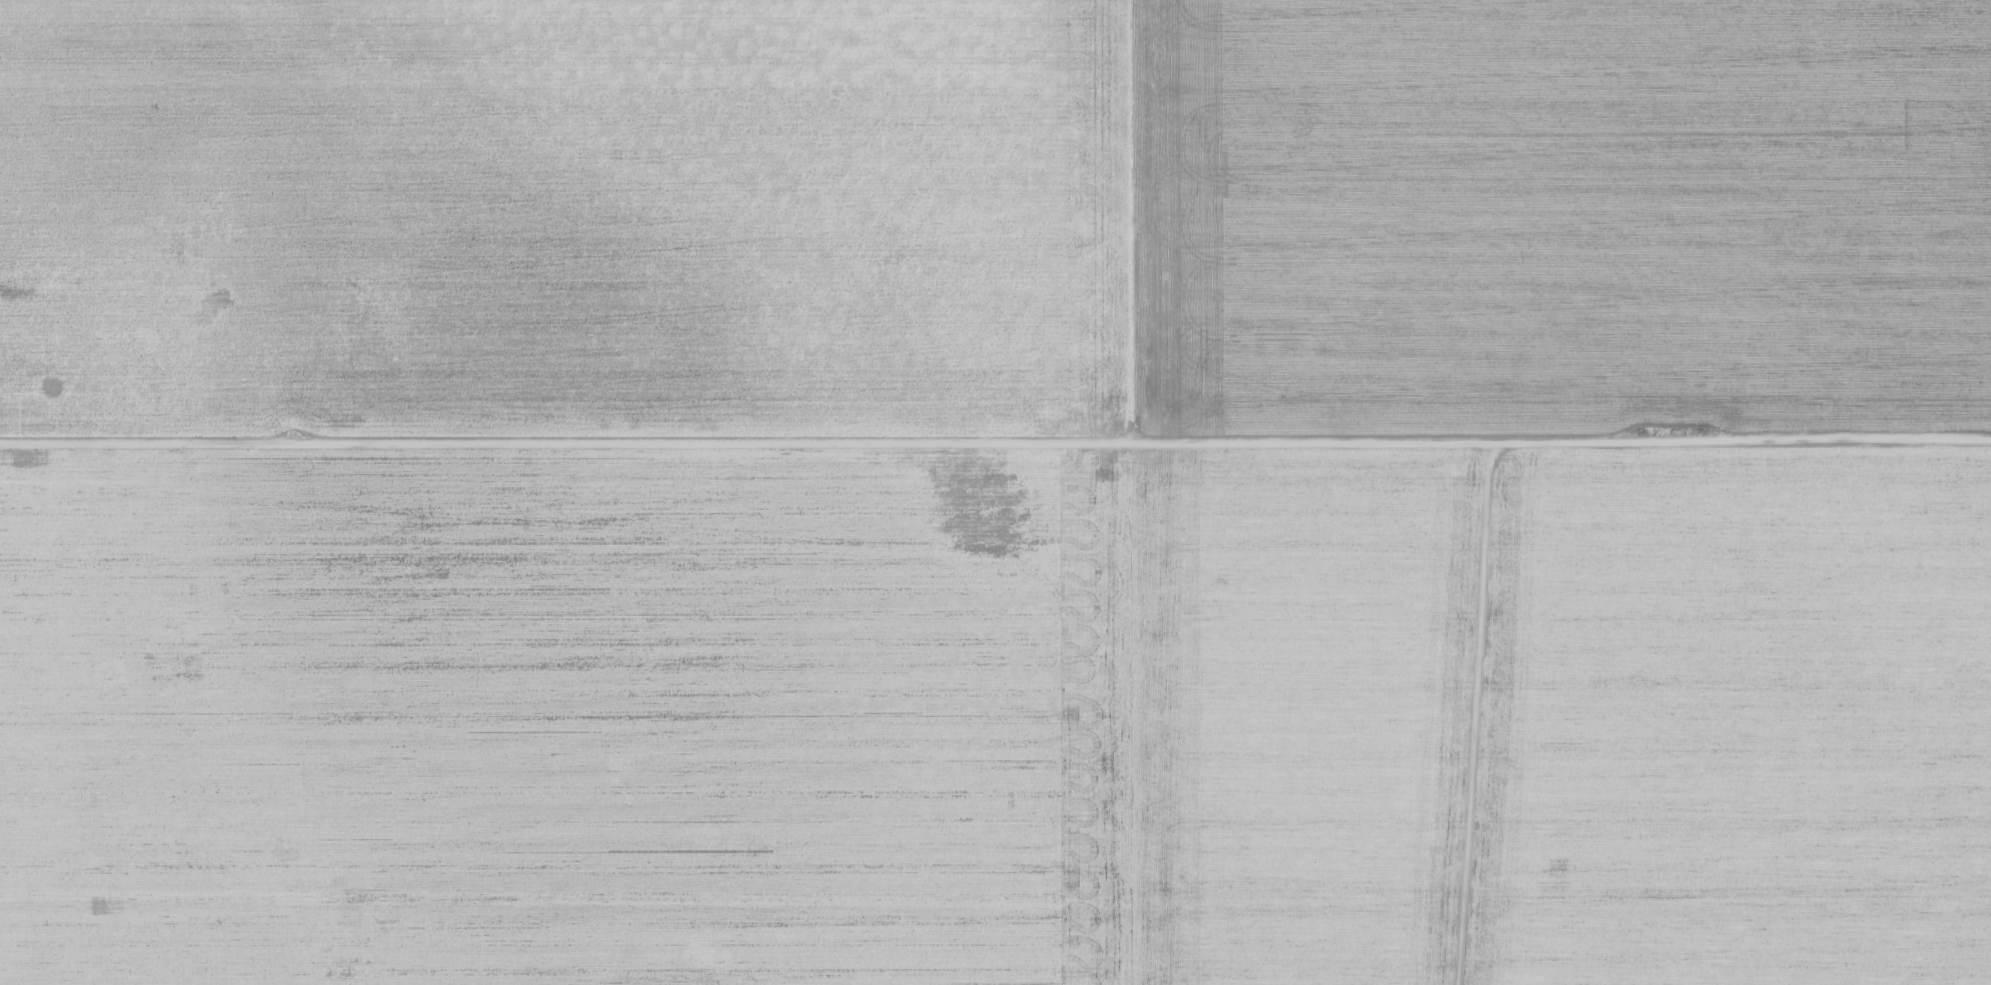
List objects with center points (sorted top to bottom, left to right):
road: (995, 443)

